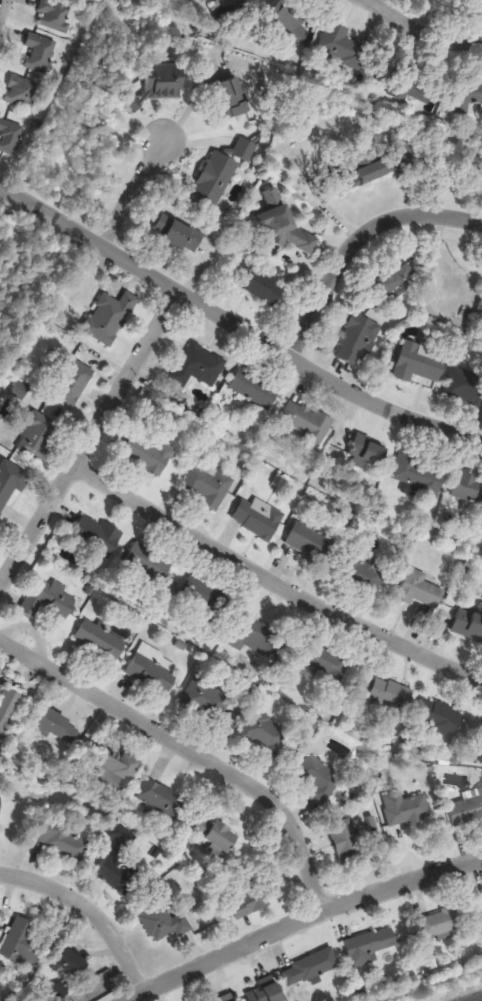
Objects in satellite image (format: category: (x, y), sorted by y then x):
road: (2, 4)
road: (372, 12)
building: (55, 15)
building: (289, 26)
road: (437, 35)
building: (342, 46)
building: (39, 53)
building: (160, 85)
building: (412, 88)
building: (21, 92)
building: (468, 92)
building: (234, 96)
building: (10, 137)
building: (244, 150)
building: (380, 162)
building: (215, 178)
road: (132, 196)
building: (177, 234)
building: (304, 242)
road: (352, 242)
building: (391, 283)
building: (261, 286)
building: (109, 318)
road: (234, 331)
building: (357, 340)
building: (419, 363)
building: (199, 366)
building: (72, 382)
building: (464, 387)
building: (255, 390)
building: (306, 421)
building: (35, 435)
road: (91, 441)
building: (368, 452)
building: (148, 455)
building: (418, 473)
building: (9, 484)
building: (208, 486)
building: (468, 488)
building: (258, 518)
building: (97, 535)
building: (310, 543)
building: (150, 562)
building: (364, 573)
road: (273, 585)
building: (420, 590)
building: (200, 599)
building: (49, 601)
building: (468, 625)
building: (258, 638)
building: (100, 641)
building: (323, 664)
building: (151, 672)
building: (390, 694)
building: (212, 700)
building: (7, 706)
building: (438, 719)
building: (53, 724)
building: (263, 734)
building: (481, 737)
road: (190, 751)
building: (118, 770)
building: (318, 778)
building: (160, 799)
building: (0, 801)
building: (404, 809)
building: (466, 810)
building: (217, 834)
building: (62, 840)
building: (347, 842)
building: (117, 876)
building: (248, 903)
building: (479, 906)
road: (88, 910)
building: (163, 921)
road: (301, 922)
building: (442, 923)
building: (21, 942)
building: (368, 947)
building: (68, 963)
building: (309, 969)
building: (266, 991)
building: (13, 998)
railway: (476, 999)

